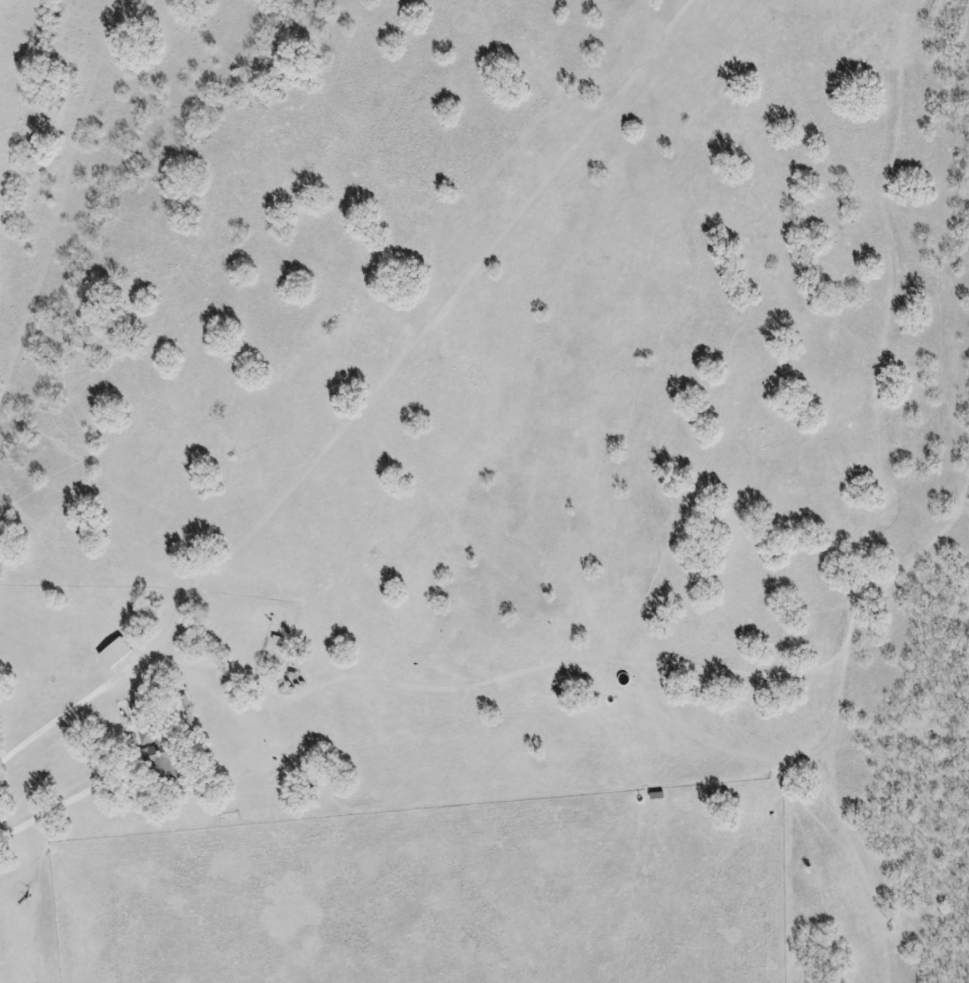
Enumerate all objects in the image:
road: (61, 716)
building: (156, 754)
road: (55, 807)

